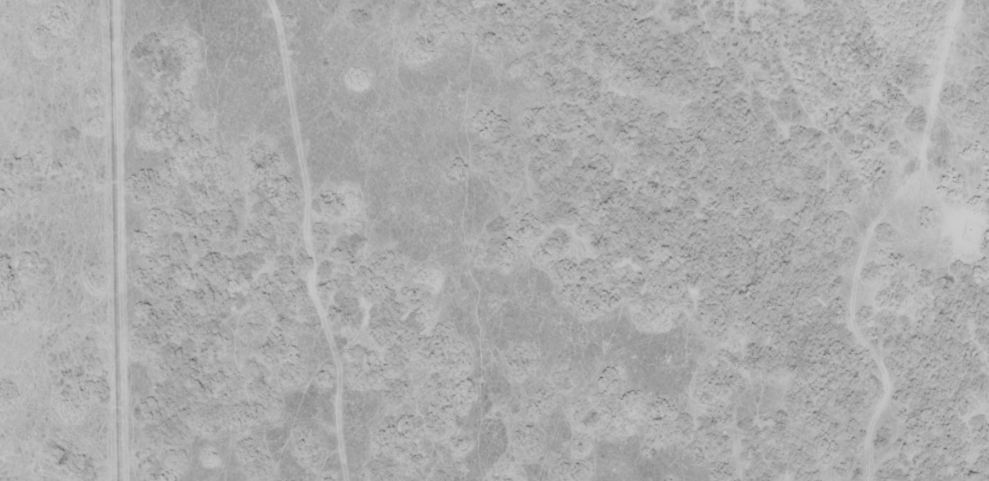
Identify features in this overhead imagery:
road: (898, 236)
road: (328, 238)

